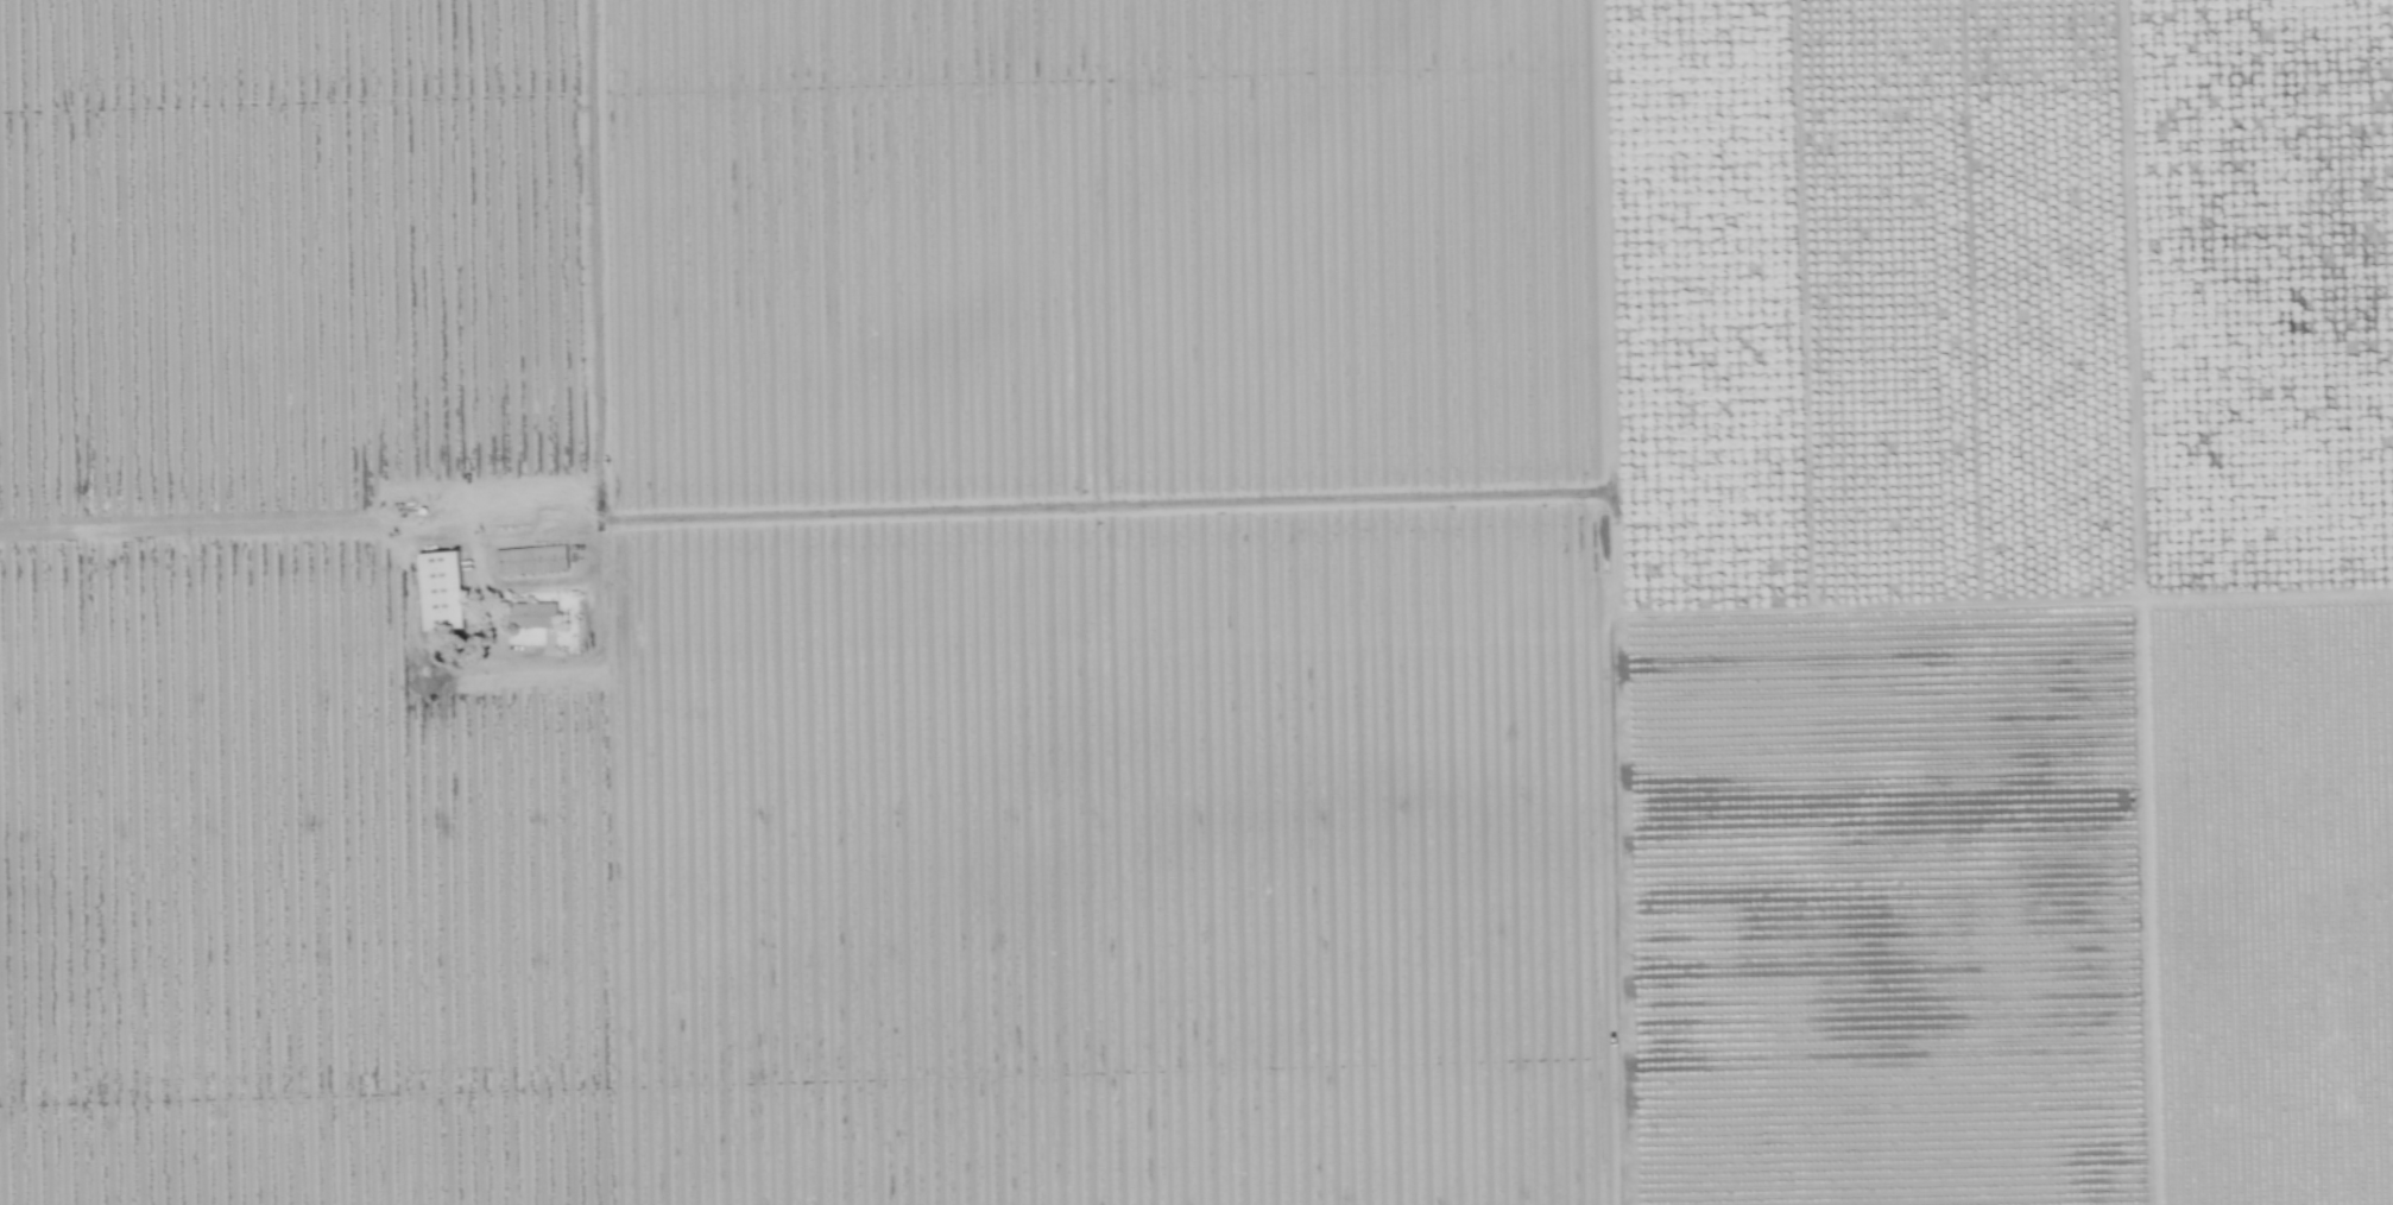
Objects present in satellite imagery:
road: (563, 531)
building: (531, 559)
building: (441, 589)
building: (532, 613)
road: (493, 649)
road: (610, 866)

